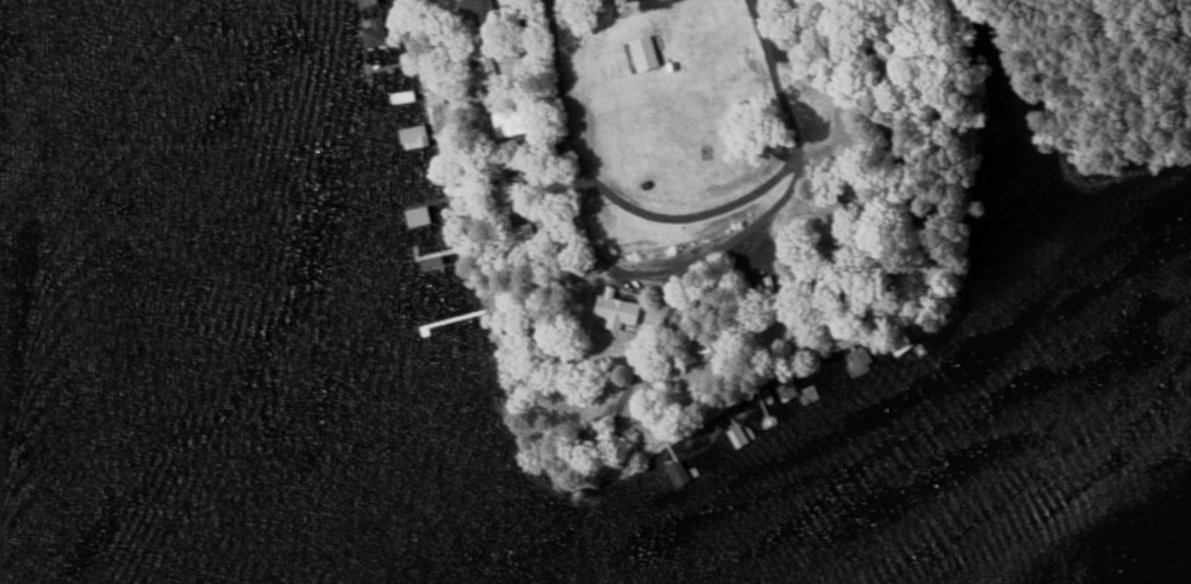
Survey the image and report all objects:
building: (626, 1)
building: (377, 33)
building: (645, 54)
building: (405, 95)
building: (435, 98)
building: (415, 135)
building: (420, 214)
road: (671, 265)
building: (623, 312)
building: (859, 360)

